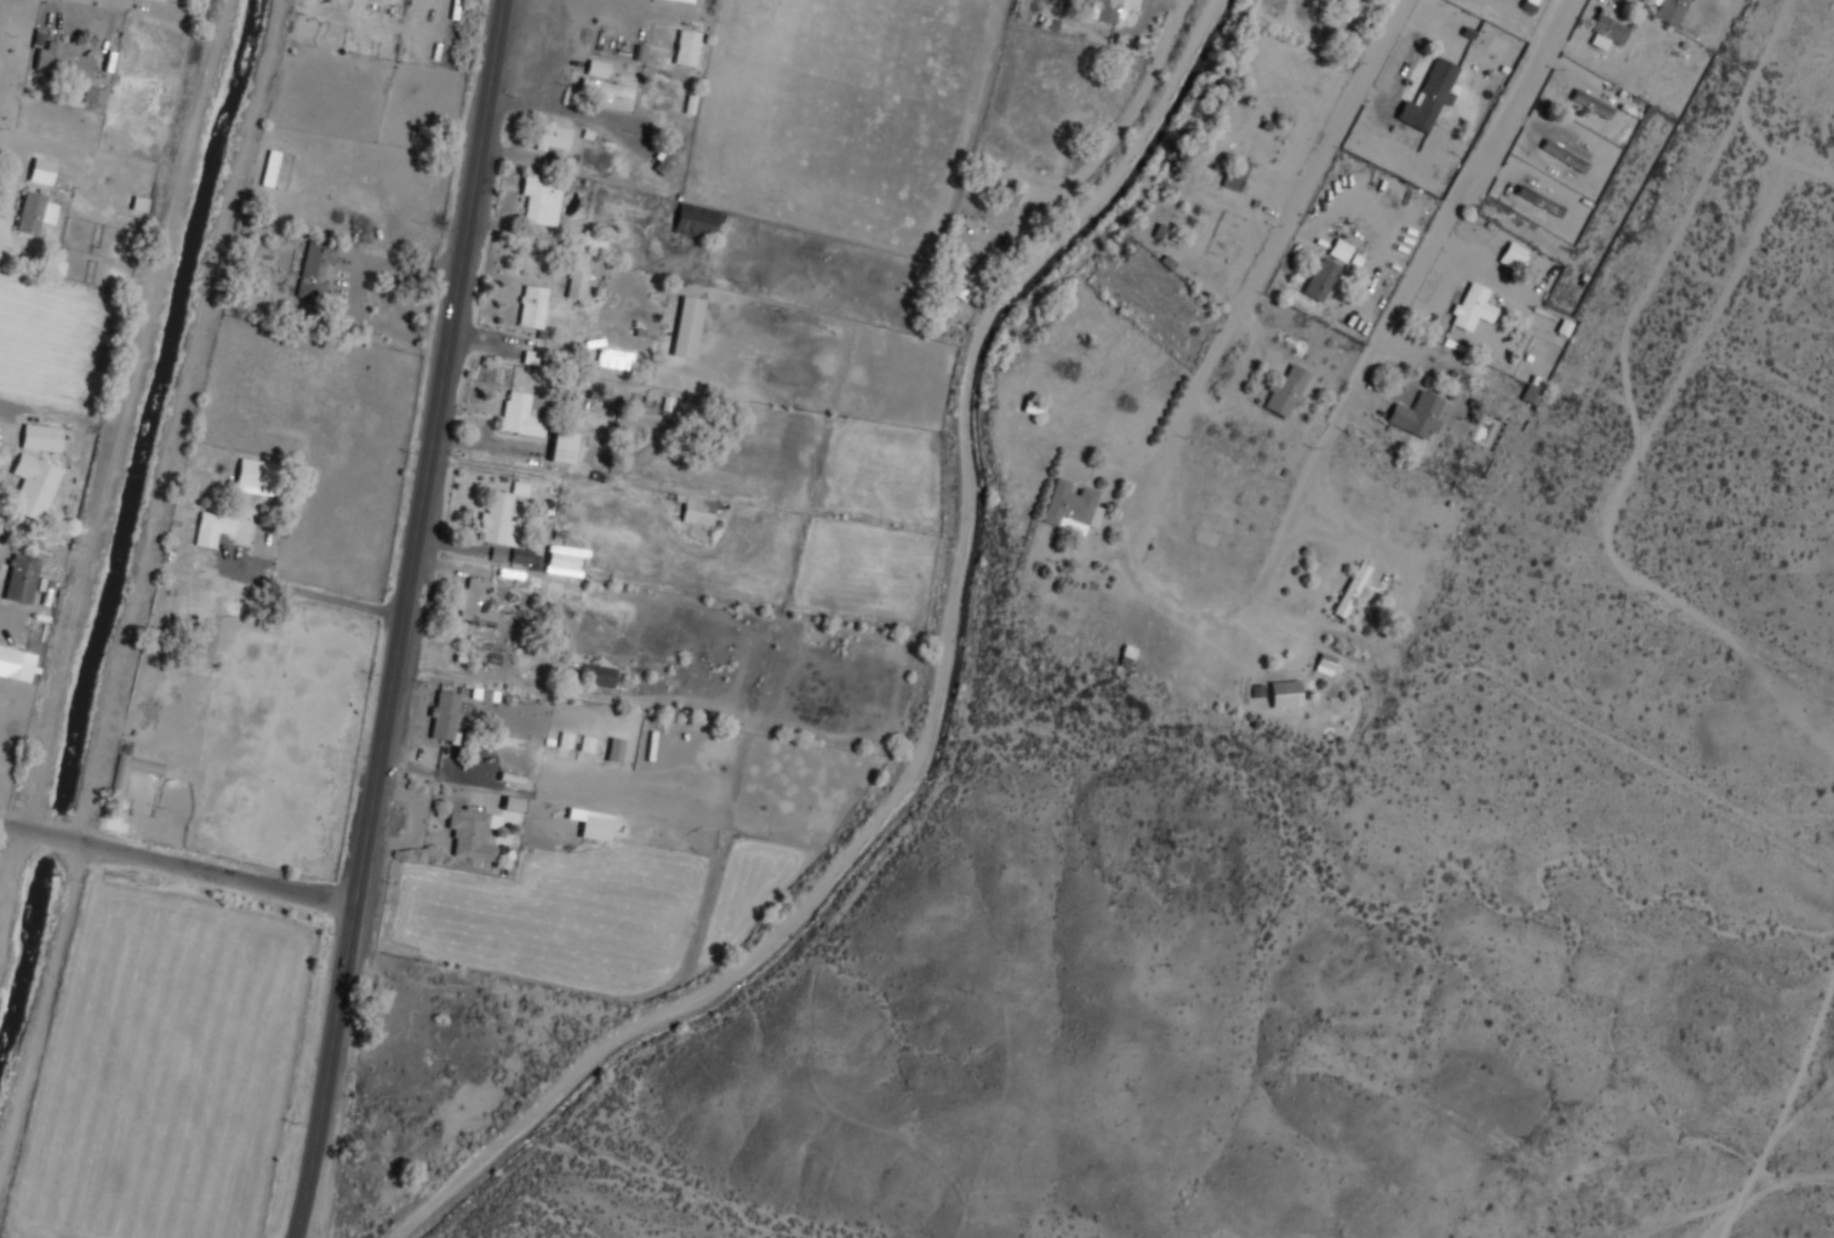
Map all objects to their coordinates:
building: (1107, 11)
building: (1670, 11)
building: (1609, 33)
building: (687, 48)
building: (62, 62)
building: (596, 68)
building: (607, 91)
building: (93, 94)
building: (1433, 97)
road: (1119, 128)
building: (552, 138)
road: (42, 148)
building: (673, 155)
building: (270, 168)
building: (41, 171)
building: (1235, 174)
building: (1006, 195)
building: (542, 199)
building: (34, 214)
building: (693, 220)
building: (592, 241)
building: (1512, 254)
building: (316, 269)
building: (971, 280)
building: (577, 281)
building: (1322, 281)
road: (1402, 299)
building: (532, 306)
building: (1472, 308)
building: (686, 326)
building: (1564, 327)
road: (1225, 337)
building: (611, 360)
building: (1287, 391)
building: (1531, 394)
road: (4, 402)
building: (525, 415)
building: (1418, 415)
building: (41, 437)
building: (561, 446)
building: (257, 476)
building: (34, 485)
building: (1074, 510)
building: (697, 511)
building: (501, 518)
building: (213, 527)
building: (22, 577)
building: (1353, 591)
road: (333, 598)
building: (478, 603)
road: (404, 619)
building: (1126, 657)
building: (1324, 664)
building: (19, 665)
building: (600, 676)
building: (1287, 695)
building: (444, 716)
building: (119, 784)
building: (473, 831)
road: (178, 866)
road: (7, 876)

